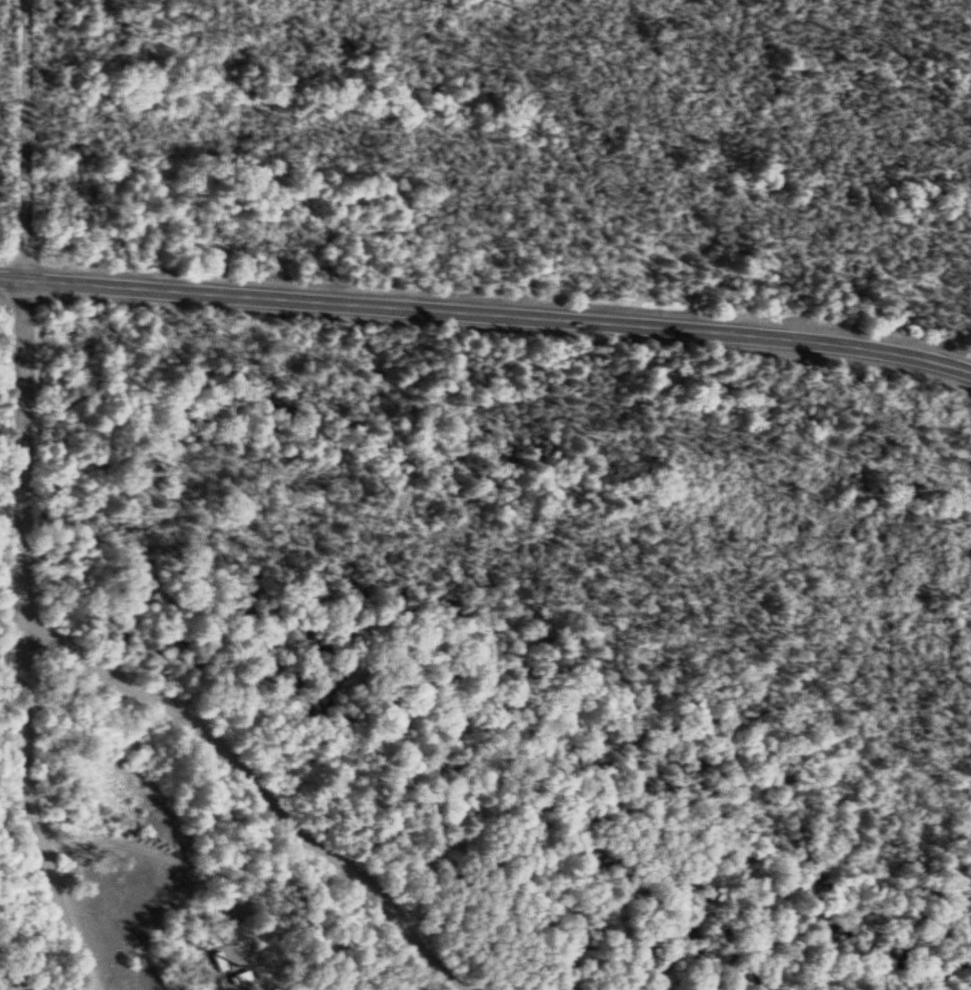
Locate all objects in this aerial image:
road: (21, 139)
road: (10, 278)
road: (497, 315)
road: (21, 640)
road: (257, 789)
road: (11, 810)
road: (161, 855)

